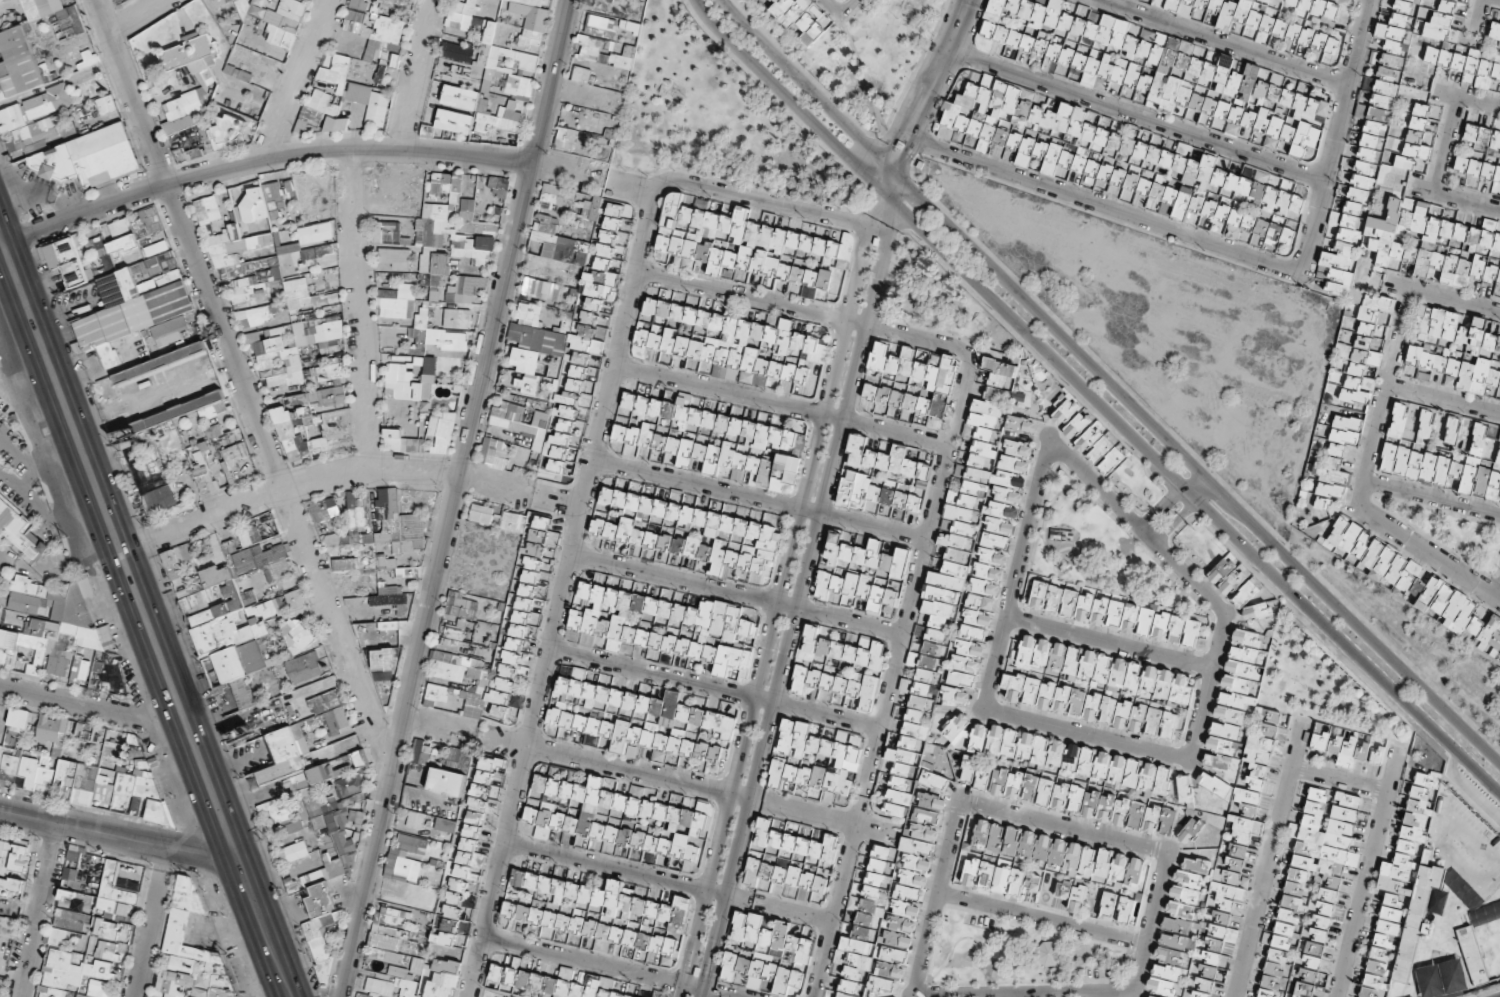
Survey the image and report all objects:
park: (1415, 634)
park: (1016, 950)
park: (490, 995)

